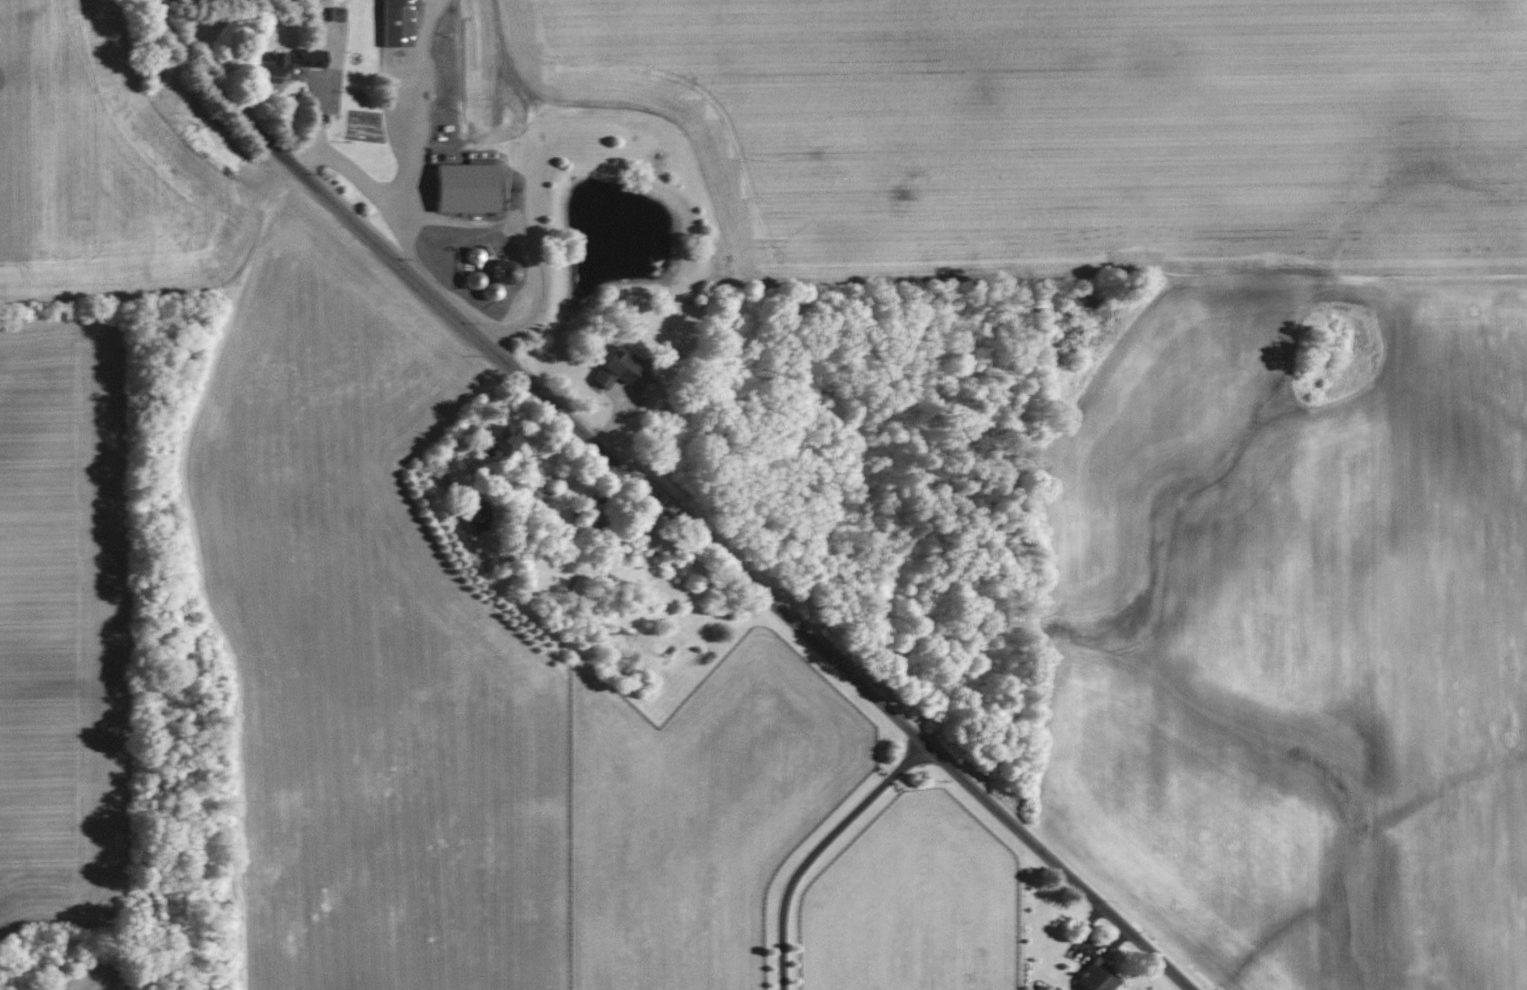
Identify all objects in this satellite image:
building: (328, 13)
building: (398, 22)
building: (286, 63)
building: (465, 187)
road: (374, 190)
road: (522, 239)
building: (499, 280)
building: (616, 367)
road: (459, 424)
building: (501, 441)
road: (665, 503)
building: (479, 517)
building: (644, 536)
road: (818, 852)
building: (1097, 977)
building: (1042, 988)

